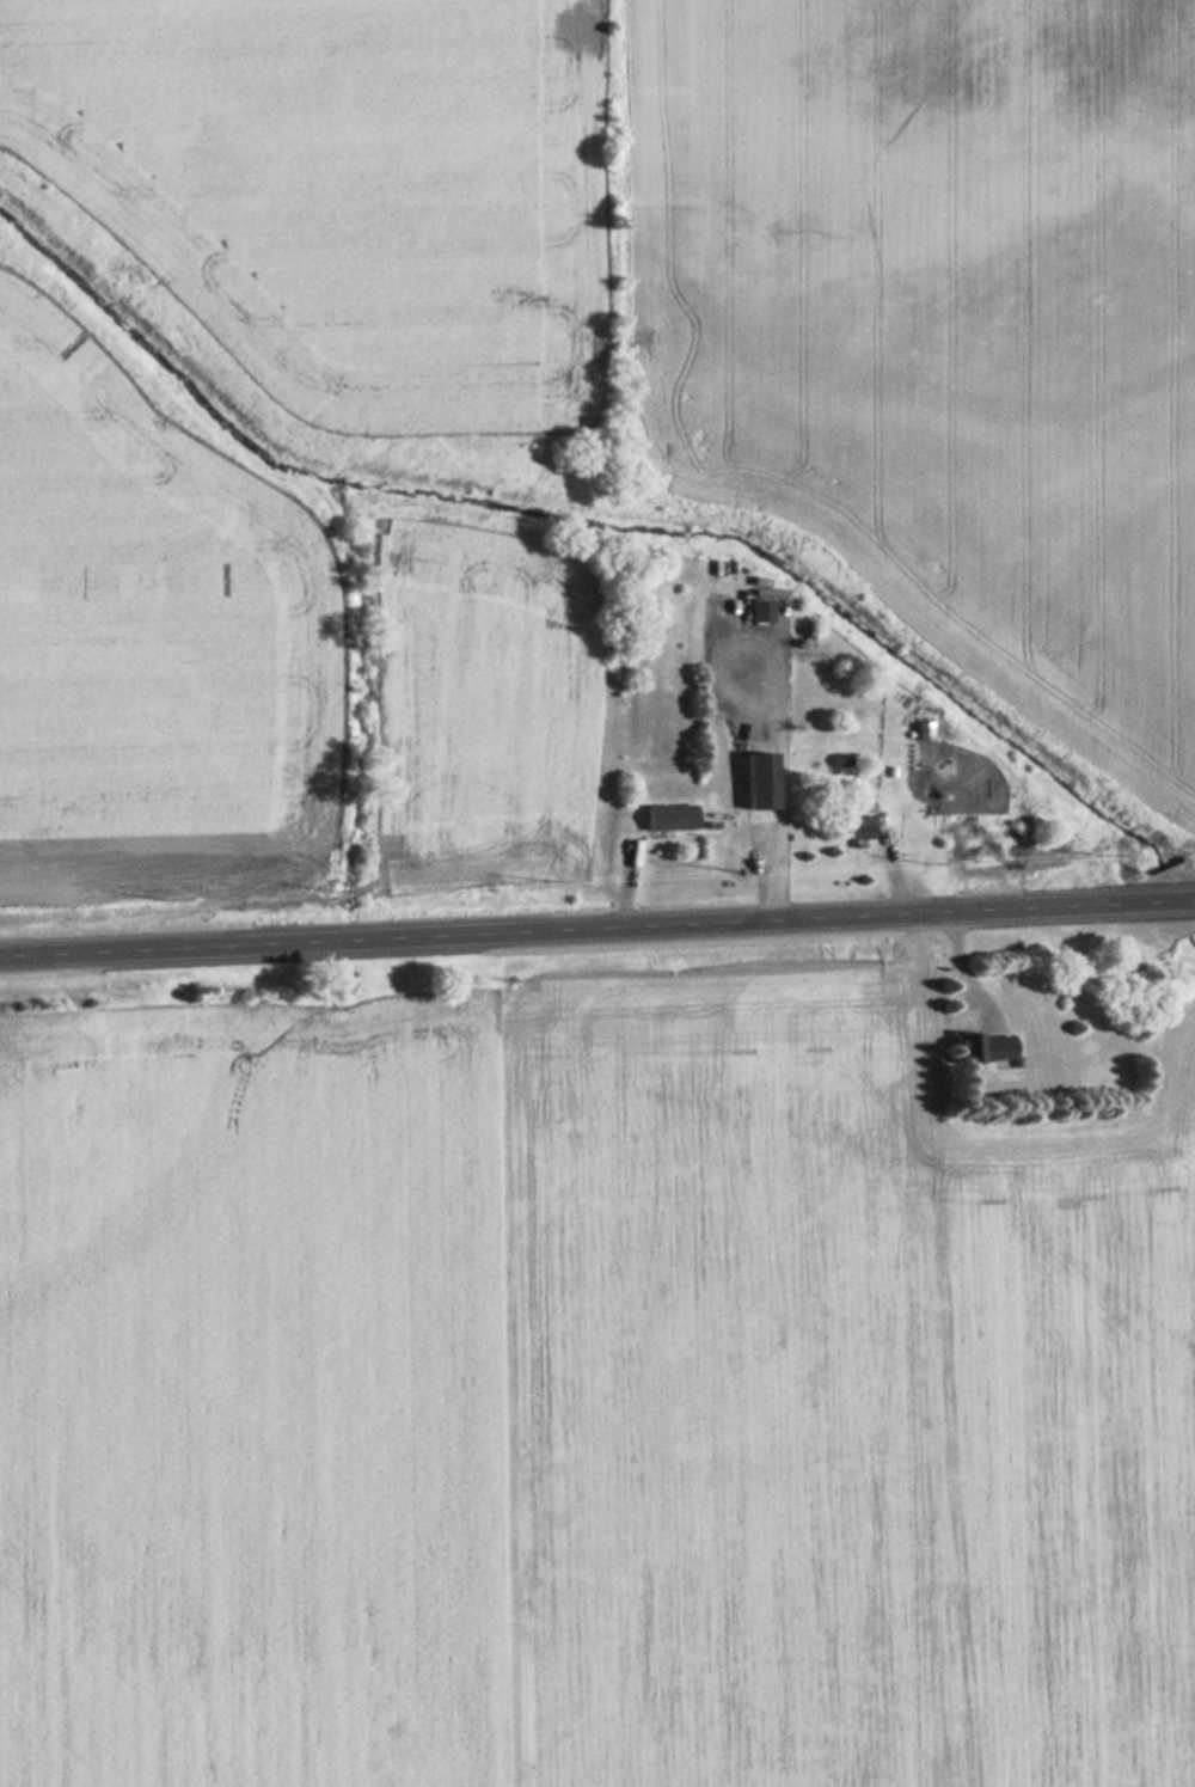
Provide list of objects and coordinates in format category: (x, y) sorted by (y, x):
building: (760, 604)
building: (762, 785)
building: (672, 816)
building: (863, 825)
road: (597, 931)
building: (985, 1047)

